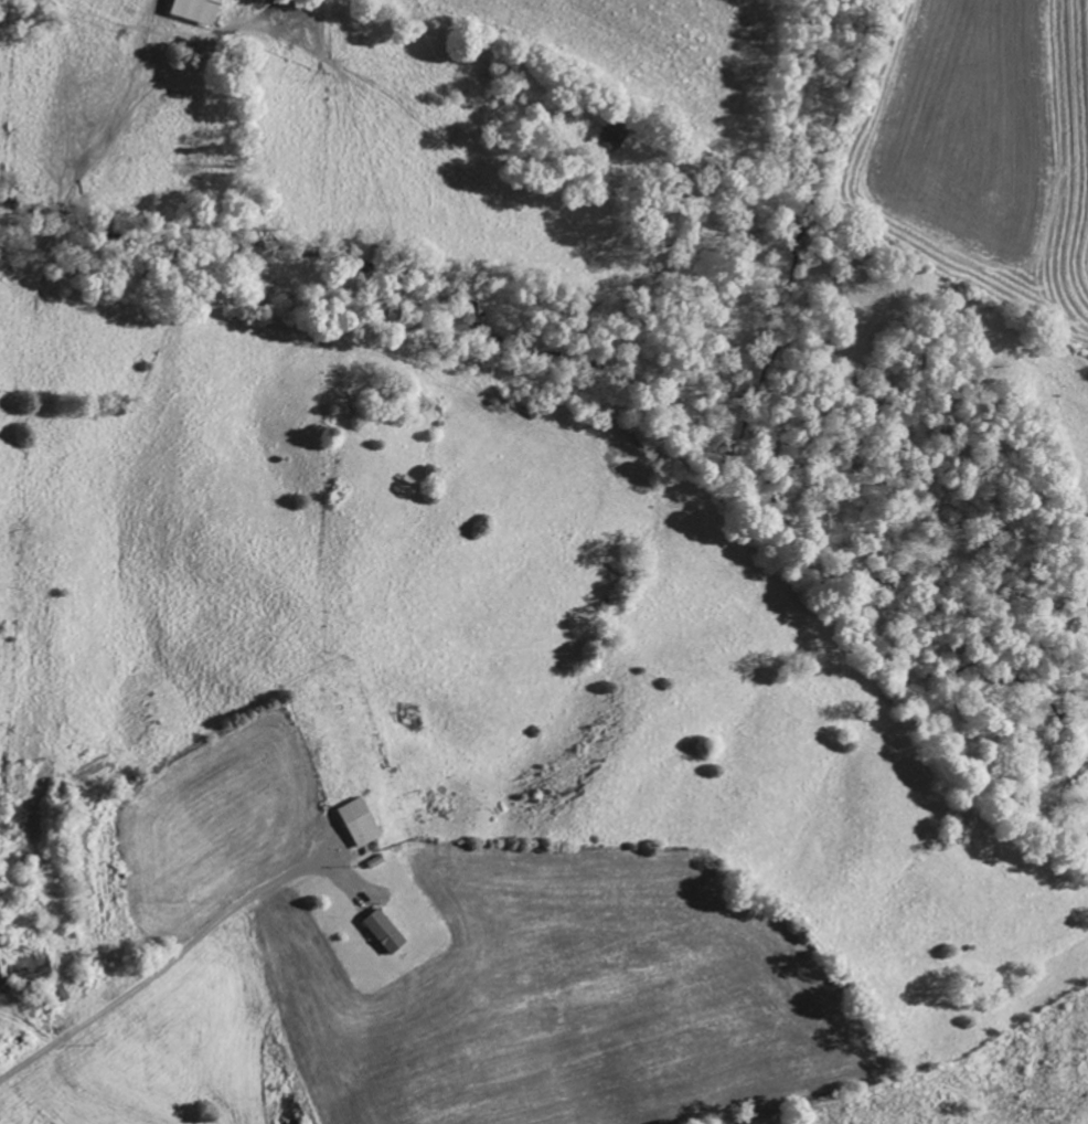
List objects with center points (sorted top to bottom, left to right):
building: (201, 10)
building: (617, 135)
building: (361, 823)
building: (387, 932)

